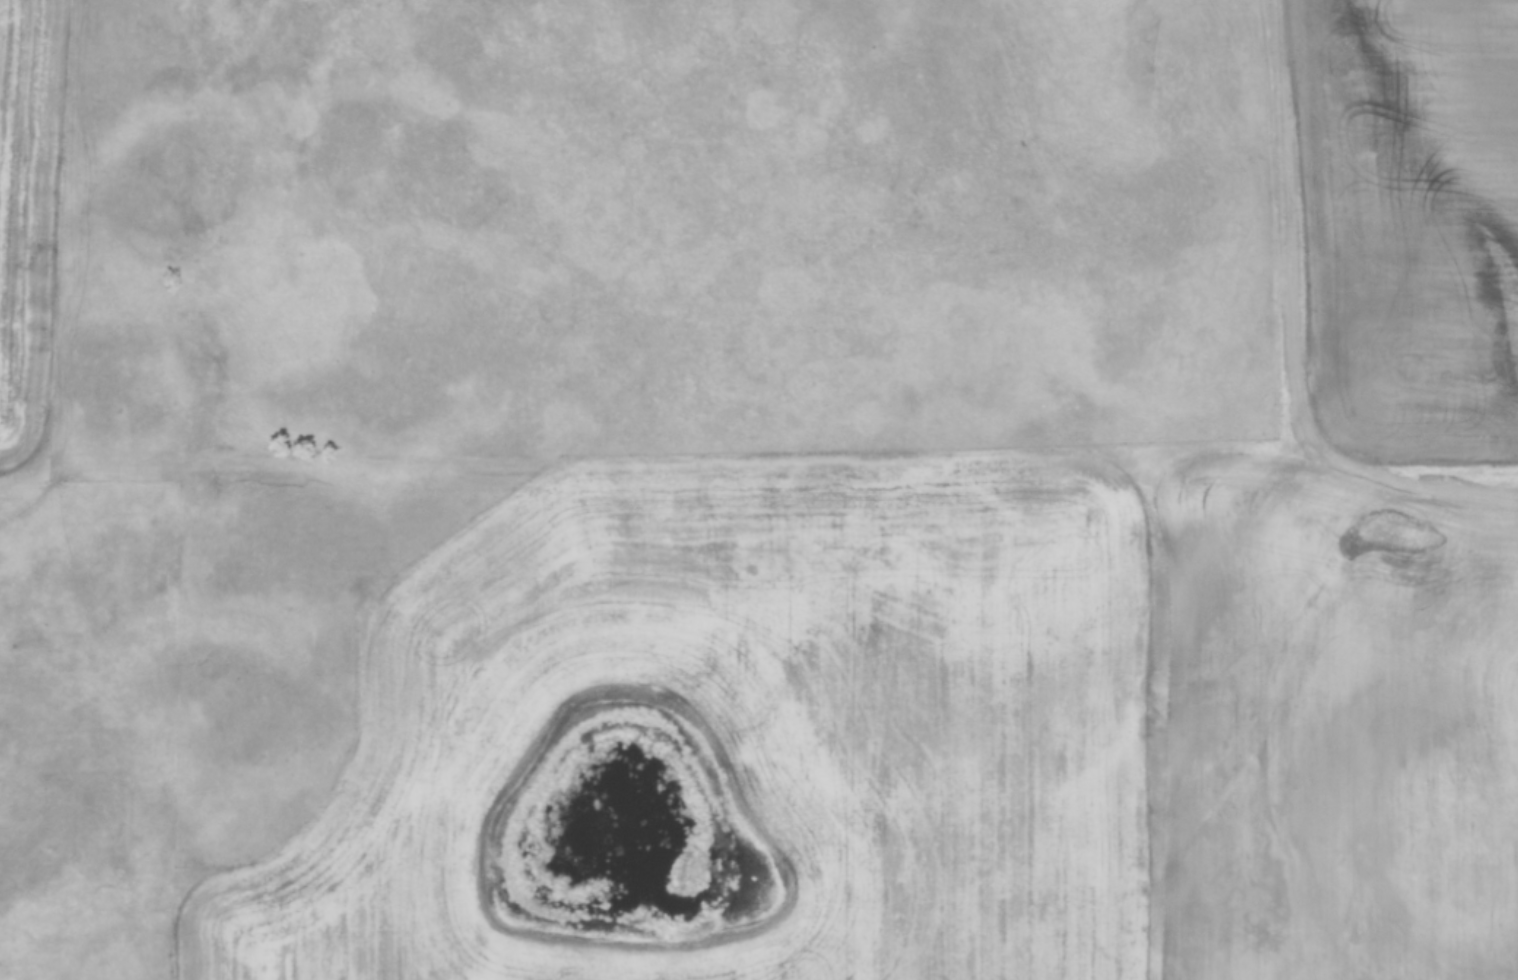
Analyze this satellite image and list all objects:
road: (1301, 329)

